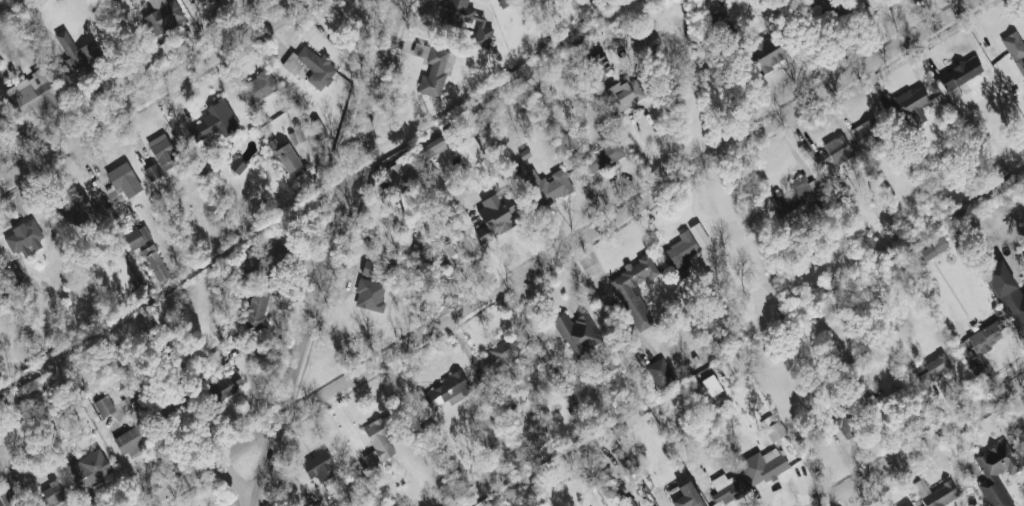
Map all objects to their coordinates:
building: (205, 2)
building: (162, 16)
building: (453, 24)
building: (1015, 49)
building: (767, 52)
building: (78, 53)
building: (592, 57)
building: (310, 66)
building: (433, 69)
building: (958, 76)
road: (144, 87)
building: (257, 87)
building: (625, 92)
building: (32, 95)
building: (912, 104)
building: (214, 121)
building: (0, 127)
building: (319, 128)
building: (866, 131)
building: (296, 135)
building: (432, 148)
building: (161, 151)
building: (469, 152)
building: (603, 154)
building: (833, 154)
building: (287, 157)
building: (237, 166)
building: (152, 171)
building: (401, 172)
building: (123, 181)
building: (543, 182)
building: (795, 193)
building: (73, 209)
building: (495, 216)
building: (699, 235)
building: (137, 237)
building: (24, 238)
building: (933, 248)
road: (553, 252)
road: (324, 253)
building: (681, 253)
building: (436, 259)
building: (155, 262)
building: (264, 262)
building: (369, 268)
building: (13, 274)
building: (634, 290)
building: (1006, 294)
building: (369, 295)
building: (255, 310)
building: (578, 333)
building: (986, 337)
building: (499, 353)
building: (218, 360)
building: (729, 366)
building: (931, 369)
building: (660, 372)
building: (35, 385)
building: (226, 386)
building: (447, 390)
building: (883, 398)
building: (104, 406)
building: (768, 420)
building: (846, 422)
building: (775, 430)
building: (1022, 434)
building: (380, 435)
building: (131, 440)
road: (916, 441)
building: (319, 466)
building: (762, 466)
building: (89, 468)
building: (696, 468)
building: (996, 473)
road: (230, 480)
building: (726, 488)
building: (935, 493)
building: (7, 494)
building: (686, 496)
building: (627, 502)
building: (906, 504)

